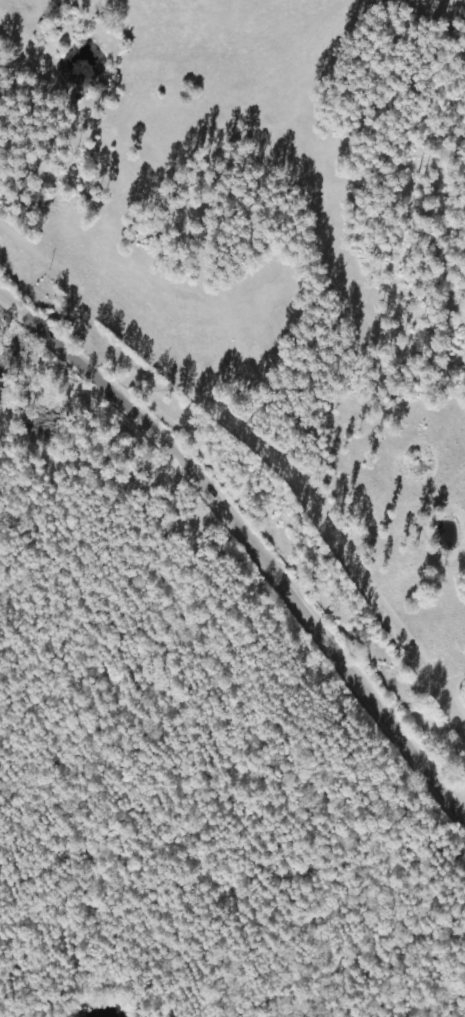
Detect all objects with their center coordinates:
road: (250, 546)

